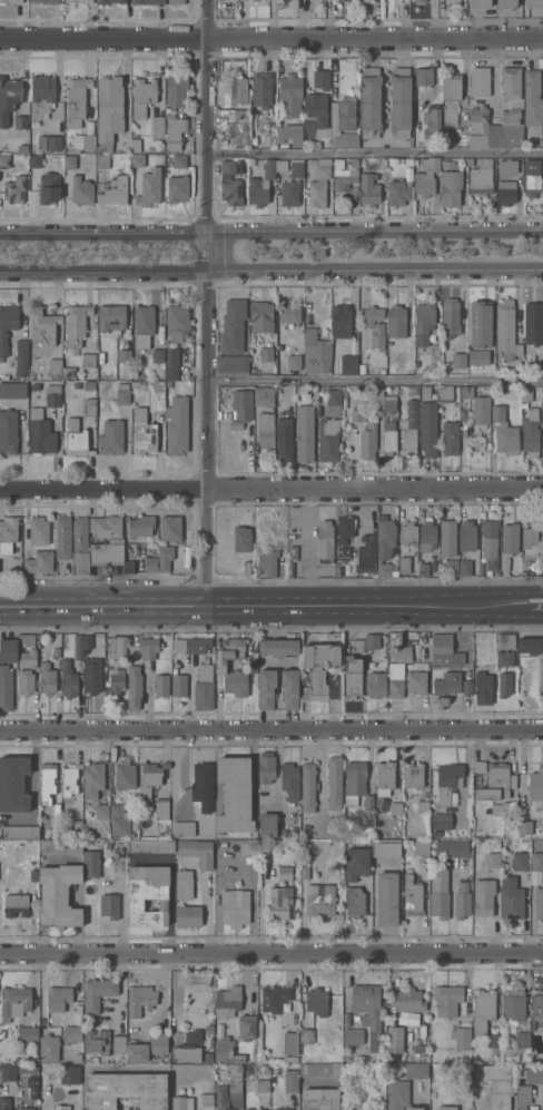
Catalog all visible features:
building: (249, 0)
building: (286, 0)
building: (364, 0)
building: (10, 1)
building: (46, 1)
building: (79, 1)
building: (111, 1)
building: (148, 1)
building: (255, 1)
building: (344, 1)
building: (419, 1)
building: (452, 1)
building: (176, 2)
building: (478, 3)
building: (506, 3)
building: (533, 3)
road: (271, 41)
road: (369, 58)
building: (423, 77)
road: (495, 78)
building: (320, 79)
road: (384, 81)
building: (480, 82)
building: (451, 87)
building: (176, 90)
building: (261, 90)
building: (234, 94)
building: (289, 96)
building: (41, 97)
building: (142, 97)
building: (8, 98)
building: (76, 101)
building: (369, 102)
building: (401, 102)
building: (532, 104)
building: (510, 110)
building: (108, 111)
building: (315, 112)
building: (342, 121)
building: (20, 122)
building: (432, 122)
building: (89, 127)
building: (158, 128)
building: (238, 128)
building: (481, 129)
building: (174, 130)
building: (293, 135)
building: (49, 143)
building: (83, 143)
building: (136, 145)
building: (22, 148)
road: (375, 155)
building: (137, 160)
building: (4, 161)
building: (34, 161)
building: (102, 161)
building: (179, 161)
building: (69, 163)
building: (506, 166)
building: (227, 167)
building: (270, 168)
building: (344, 175)
building: (480, 177)
building: (532, 178)
building: (426, 179)
building: (318, 184)
building: (292, 185)
building: (48, 188)
building: (451, 188)
building: (149, 189)
building: (177, 189)
building: (368, 189)
building: (14, 190)
building: (81, 190)
building: (115, 191)
building: (258, 191)
building: (231, 193)
building: (398, 193)
building: (506, 193)
road: (270, 232)
power tower: (338, 251)
road: (271, 273)
road: (208, 303)
building: (372, 316)
building: (111, 317)
building: (261, 317)
building: (478, 317)
building: (340, 321)
building: (450, 321)
building: (290, 322)
building: (396, 322)
building: (533, 322)
building: (177, 323)
building: (423, 323)
building: (7, 326)
building: (144, 326)
building: (42, 327)
building: (76, 327)
building: (233, 327)
building: (505, 328)
building: (377, 336)
building: (315, 353)
building: (157, 355)
building: (124, 356)
building: (477, 356)
building: (260, 357)
building: (20, 358)
building: (457, 360)
building: (88, 361)
building: (294, 362)
building: (171, 363)
building: (231, 364)
building: (347, 365)
building: (162, 369)
building: (55, 370)
building: (67, 373)
road: (375, 380)
building: (89, 385)
building: (34, 387)
building: (13, 391)
building: (526, 393)
building: (122, 394)
building: (445, 394)
building: (158, 395)
building: (52, 396)
building: (263, 396)
building: (386, 402)
building: (333, 403)
building: (243, 405)
building: (89, 407)
building: (474, 407)
building: (34, 413)
building: (357, 414)
building: (542, 424)
building: (176, 425)
building: (427, 429)
building: (266, 431)
building: (503, 431)
building: (8, 432)
building: (530, 432)
building: (144, 433)
building: (304, 434)
building: (41, 438)
building: (111, 438)
building: (388, 438)
building: (76, 439)
building: (450, 439)
building: (284, 441)
building: (408, 441)
building: (327, 442)
building: (367, 442)
building: (542, 442)
road: (270, 489)
building: (106, 527)
building: (141, 527)
building: (170, 528)
building: (38, 531)
building: (8, 533)
building: (408, 533)
building: (427, 536)
building: (344, 537)
building: (467, 537)
building: (62, 538)
building: (447, 538)
building: (241, 539)
building: (509, 543)
building: (530, 543)
building: (324, 544)
building: (80, 546)
building: (384, 546)
building: (488, 547)
building: (106, 553)
building: (165, 558)
building: (292, 559)
building: (366, 559)
building: (39, 562)
building: (268, 563)
building: (423, 563)
building: (150, 564)
building: (403, 566)
building: (129, 568)
building: (451, 568)
building: (464, 568)
road: (522, 593)
road: (251, 606)
road: (522, 612)
building: (24, 640)
building: (372, 641)
building: (505, 641)
building: (81, 646)
building: (194, 646)
building: (529, 646)
building: (117, 647)
building: (278, 647)
building: (148, 648)
building: (8, 650)
building: (444, 651)
building: (28, 659)
building: (504, 659)
building: (220, 668)
building: (318, 669)
building: (92, 676)
building: (353, 676)
building: (541, 677)
building: (47, 679)
building: (68, 680)
building: (24, 681)
building: (116, 684)
building: (447, 684)
building: (376, 685)
building: (416, 685)
building: (504, 685)
building: (160, 686)
building: (178, 686)
building: (465, 687)
building: (6, 688)
building: (134, 688)
building: (203, 688)
building: (266, 688)
building: (483, 688)
building: (290, 689)
building: (395, 689)
building: (526, 697)
road: (271, 730)
building: (266, 767)
building: (478, 767)
building: (413, 776)
building: (125, 777)
building: (384, 778)
building: (69, 779)
building: (150, 779)
building: (92, 780)
building: (289, 780)
building: (47, 783)
building: (334, 783)
building: (497, 783)
building: (13, 784)
building: (448, 784)
building: (357, 786)
building: (203, 787)
building: (307, 787)
building: (536, 787)
building: (234, 795)
building: (161, 809)
building: (502, 809)
building: (101, 812)
building: (119, 822)
building: (441, 822)
building: (72, 825)
building: (267, 825)
building: (182, 828)
building: (335, 828)
building: (524, 828)
building: (18, 833)
building: (60, 846)
building: (150, 846)
building: (421, 847)
building: (386, 848)
building: (452, 849)
building: (197, 852)
building: (493, 861)
building: (520, 862)
building: (536, 862)
building: (90, 864)
building: (356, 864)
building: (184, 885)
road: (235, 885)
building: (280, 892)
building: (147, 895)
building: (438, 895)
building: (58, 896)
building: (412, 896)
building: (483, 897)
building: (319, 900)
building: (387, 900)
building: (511, 900)
building: (354, 902)
building: (462, 902)
building: (539, 904)
building: (16, 905)
building: (109, 906)
building: (234, 908)
building: (188, 916)
road: (253, 943)
road: (217, 944)
road: (270, 953)
building: (200, 980)
building: (97, 993)
building: (57, 999)
building: (140, 1000)
building: (276, 1000)
building: (447, 1000)
building: (227, 1002)
building: (317, 1002)
building: (13, 1003)
building: (411, 1003)
building: (513, 1004)
building: (536, 1005)
building: (69, 1006)
building: (483, 1010)
building: (364, 1012)
building: (247, 1028)
building: (28, 1034)
building: (72, 1034)
building: (306, 1037)
building: (189, 1039)
building: (462, 1039)
building: (494, 1039)
building: (374, 1041)
building: (96, 1042)
building: (288, 1042)
building: (522, 1042)
building: (401, 1043)
building: (118, 1044)
building: (159, 1044)
building: (48, 1049)
building: (226, 1052)
building: (137, 1053)
building: (190, 1055)
building: (27, 1068)
building: (320, 1070)
building: (377, 1071)
building: (418, 1071)
building: (493, 1072)
building: (8, 1073)
building: (69, 1075)
building: (534, 1077)
building: (290, 1082)
building: (461, 1083)
building: (263, 1086)
building: (126, 1090)
building: (235, 1090)
building: (33, 1092)
building: (396, 1094)
building: (497, 1096)
building: (522, 1097)
building: (221, 1098)
building: (319, 1099)
building: (207, 1101)
building: (4, 1103)
building: (181, 1103)
building: (60, 1108)
building: (447, 1108)
building: (24, 1109)
building: (251, 1109)
building: (282, 1109)
building: (348, 1109)
building: (413, 1109)

